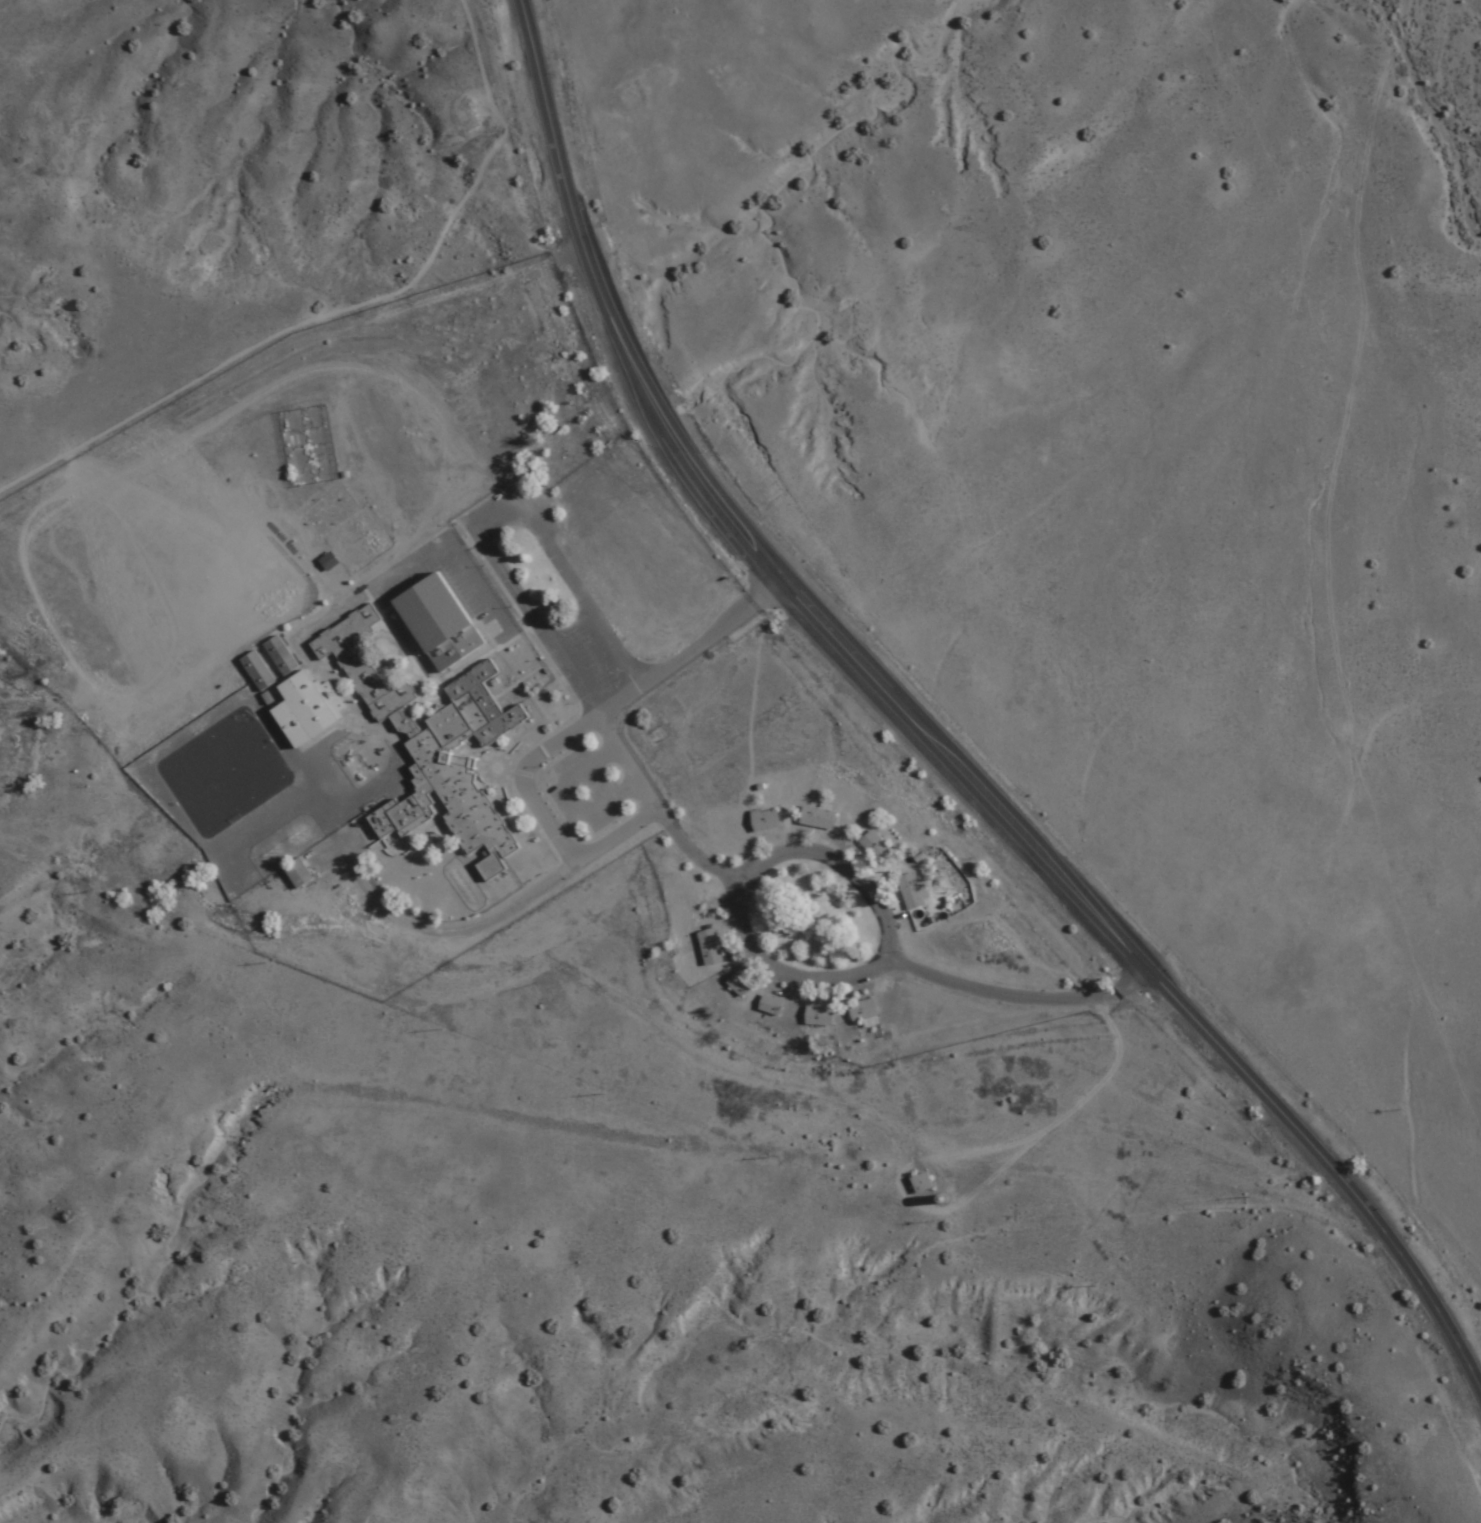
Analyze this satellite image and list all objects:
building: (328, 562)
building: (280, 658)
building: (257, 672)
building: (307, 710)
road: (599, 718)
road: (925, 739)
building: (435, 747)
building: (817, 818)
building: (764, 821)
building: (874, 846)
building: (298, 875)
building: (910, 891)
building: (709, 947)
road: (808, 981)
building: (739, 985)
building: (770, 1005)
building: (863, 1010)
building: (818, 1016)
building: (923, 1182)

